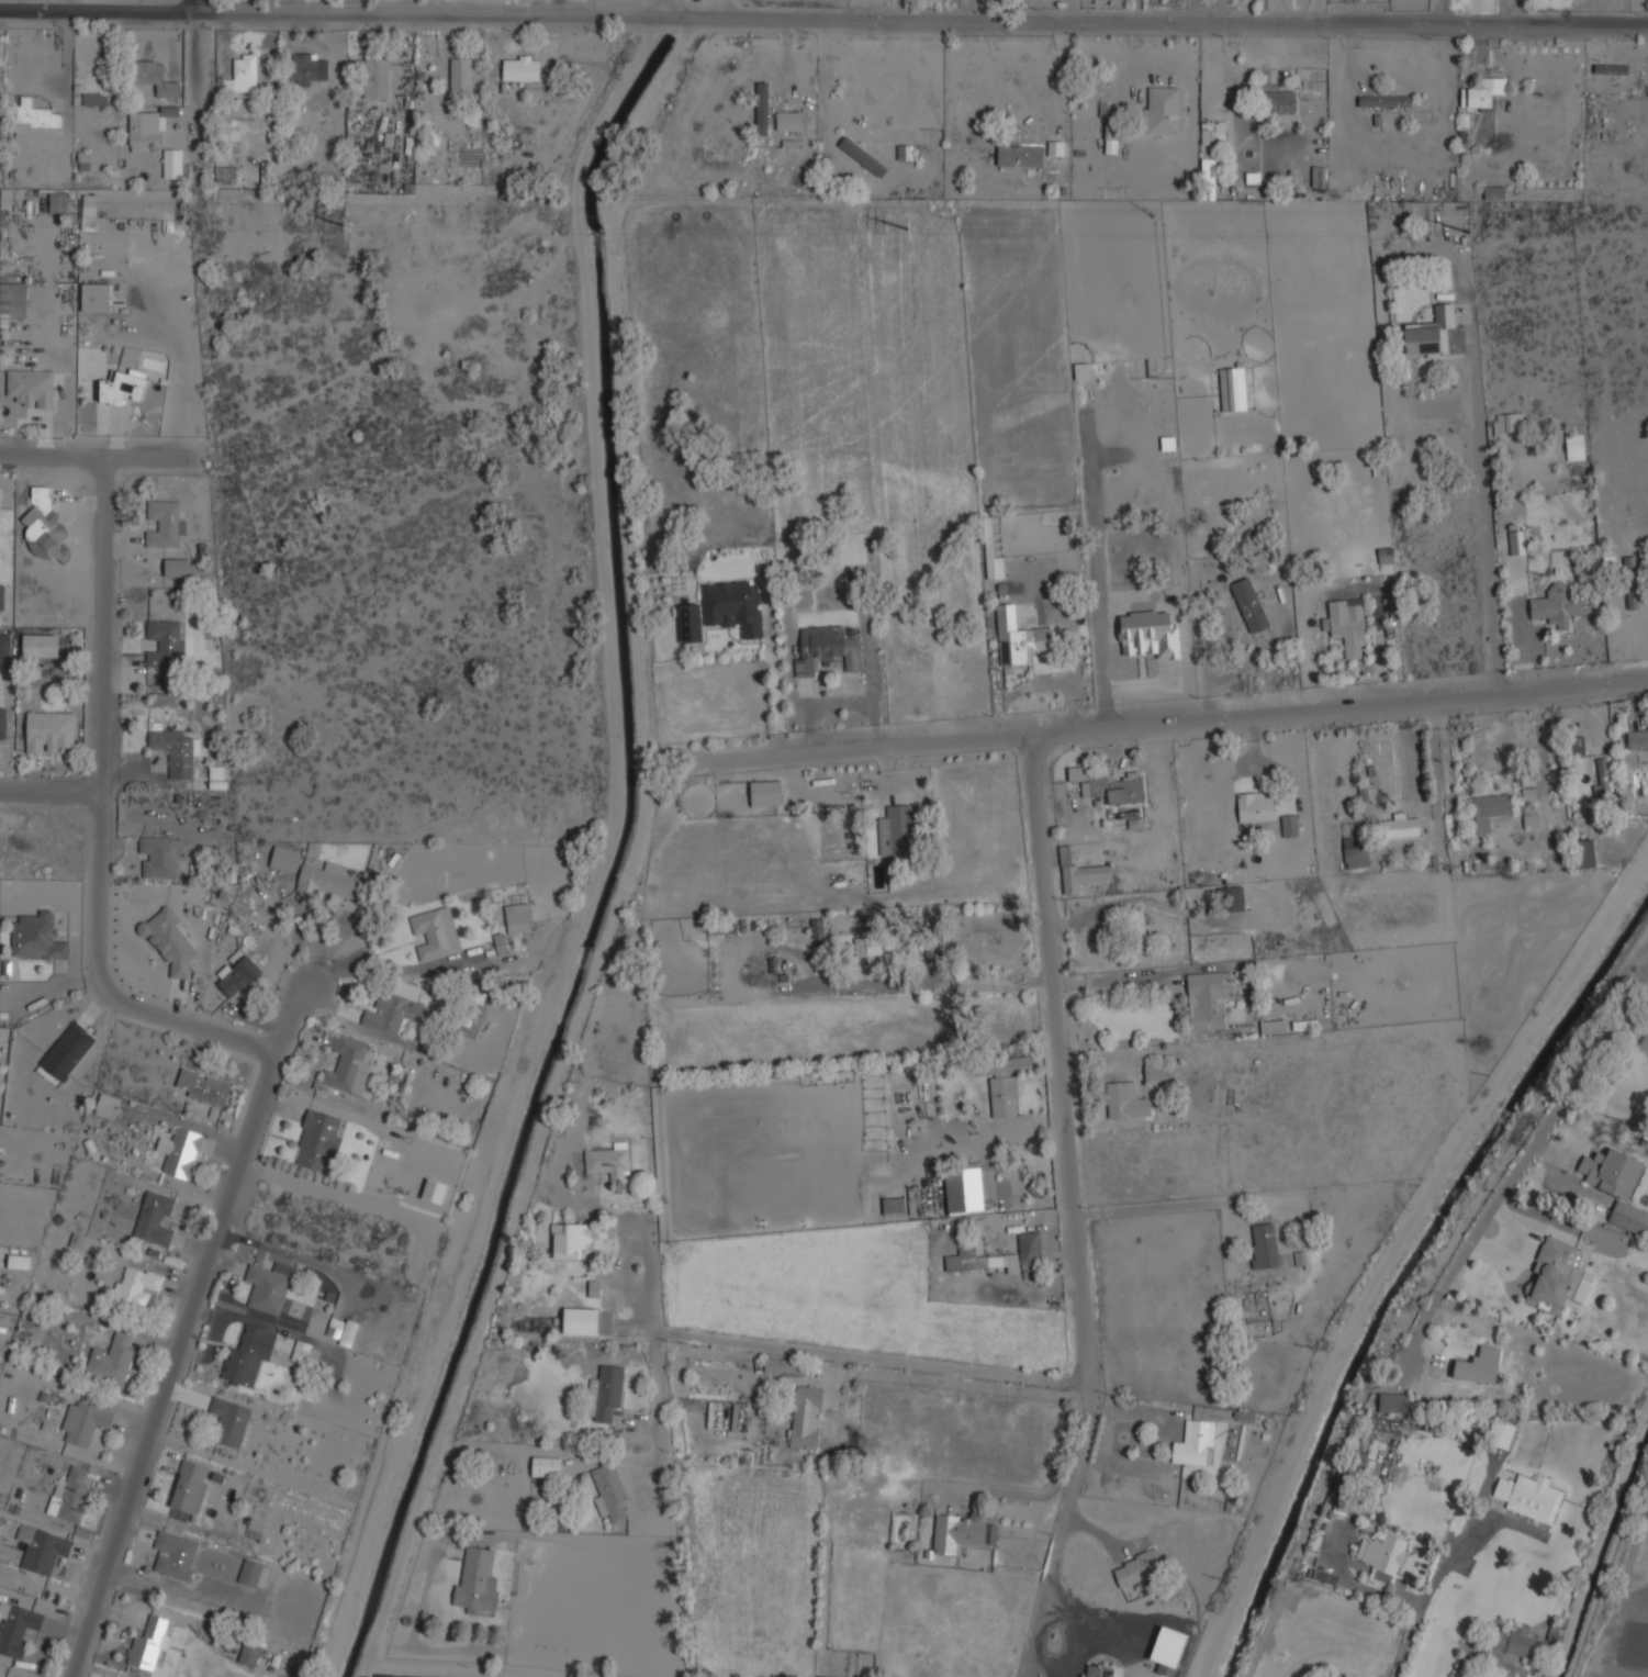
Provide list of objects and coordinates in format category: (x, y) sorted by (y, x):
road: (192, 3)
road: (630, 8)
road: (823, 19)
building: (522, 68)
building: (303, 69)
building: (243, 74)
building: (461, 75)
building: (154, 76)
building: (375, 76)
road: (1060, 91)
building: (1482, 91)
building: (94, 98)
building: (1277, 100)
building: (1386, 101)
building: (1164, 109)
building: (38, 118)
building: (789, 121)
building: (145, 130)
building: (1217, 131)
building: (1112, 137)
building: (866, 148)
building: (1397, 150)
building: (905, 152)
building: (1020, 154)
building: (862, 156)
building: (79, 160)
building: (175, 163)
building: (1318, 177)
building: (1208, 178)
building: (1252, 178)
building: (1494, 191)
building: (58, 202)
building: (89, 212)
power tower: (350, 224)
power tower: (916, 231)
power tower: (1475, 234)
building: (1442, 280)
building: (96, 297)
building: (13, 299)
building: (1430, 333)
building: (32, 387)
building: (123, 387)
building: (1233, 388)
building: (1506, 424)
building: (1574, 446)
road: (98, 458)
building: (165, 524)
building: (44, 525)
road: (1484, 530)
building: (1517, 541)
building: (994, 567)
building: (177, 568)
building: (1632, 581)
building: (1, 596)
building: (1249, 604)
building: (735, 605)
building: (1558, 606)
building: (691, 622)
building: (1349, 625)
building: (1150, 634)
building: (1019, 638)
building: (166, 642)
building: (41, 645)
building: (4, 648)
building: (826, 649)
building: (158, 681)
building: (2, 720)
building: (49, 731)
road: (1177, 735)
building: (1637, 738)
building: (1576, 746)
building: (176, 751)
building: (1604, 780)
building: (1109, 784)
road: (53, 785)
building: (1361, 792)
building: (766, 793)
building: (1256, 806)
building: (1490, 809)
building: (1403, 825)
building: (1289, 826)
building: (899, 832)
building: (1357, 852)
building: (1584, 853)
building: (158, 857)
building: (285, 859)
building: (1079, 872)
building: (329, 881)
building: (1231, 898)
road: (1165, 906)
building: (519, 918)
building: (817, 928)
building: (1141, 929)
building: (436, 932)
building: (37, 937)
building: (169, 941)
building: (500, 943)
building: (875, 946)
road: (394, 972)
building: (237, 974)
road: (1121, 979)
road: (990, 983)
building: (1207, 999)
building: (392, 1011)
road: (285, 1015)
building: (1274, 1026)
building: (474, 1030)
road: (242, 1043)
building: (67, 1050)
building: (350, 1064)
road: (1068, 1066)
building: (1155, 1071)
building: (1004, 1082)
building: (203, 1087)
building: (1126, 1099)
building: (108, 1106)
building: (951, 1131)
building: (318, 1141)
road: (995, 1144)
building: (181, 1152)
road: (1524, 1158)
building: (609, 1161)
building: (1617, 1185)
building: (963, 1186)
building: (434, 1190)
building: (155, 1218)
building: (77, 1240)
building: (569, 1240)
building: (1030, 1245)
building: (1265, 1245)
building: (973, 1260)
building: (19, 1261)
building: (1554, 1276)
building: (136, 1285)
building: (268, 1286)
building: (581, 1320)
building: (334, 1328)
building: (348, 1332)
road: (818, 1350)
building: (300, 1351)
building: (248, 1354)
building: (112, 1361)
building: (1480, 1365)
building: (786, 1366)
building: (605, 1394)
road: (658, 1401)
building: (1392, 1402)
building: (1244, 1416)
building: (807, 1417)
building: (229, 1421)
building: (88, 1422)
building: (1501, 1434)
building: (1193, 1443)
building: (546, 1466)
building: (189, 1489)
building: (612, 1494)
building: (70, 1495)
building: (1528, 1497)
building: (0, 1519)
road: (1066, 1531)
building: (956, 1532)
building: (42, 1547)
building: (176, 1553)
building: (1383, 1555)
building: (1137, 1568)
building: (254, 1575)
building: (477, 1581)
building: (16, 1628)
building: (150, 1644)
building: (1526, 1644)
road: (1404, 1648)
building: (249, 1654)
building: (1097, 1670)
building: (1338, 1676)
building: (1477, 1676)

